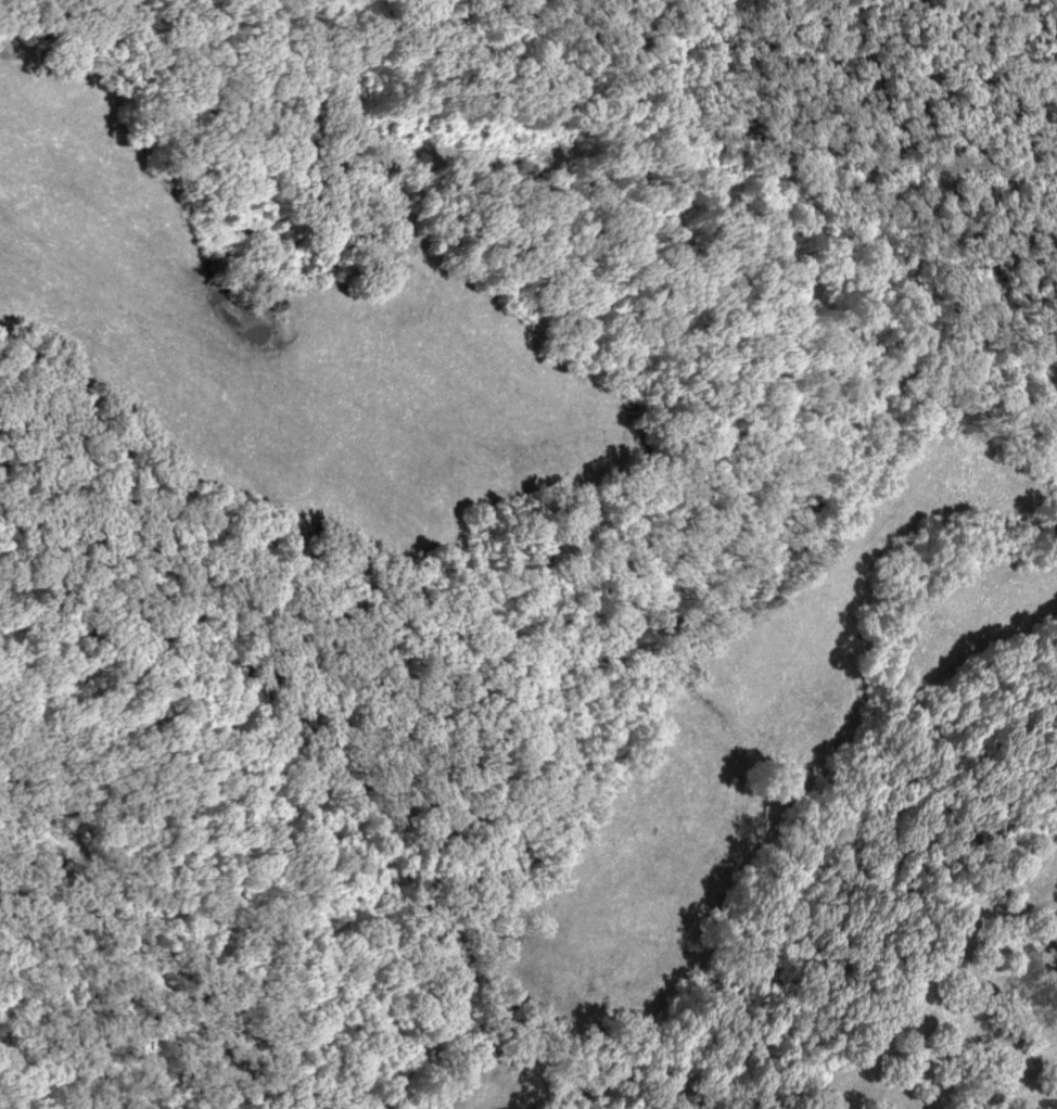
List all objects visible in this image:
road: (990, 1084)

